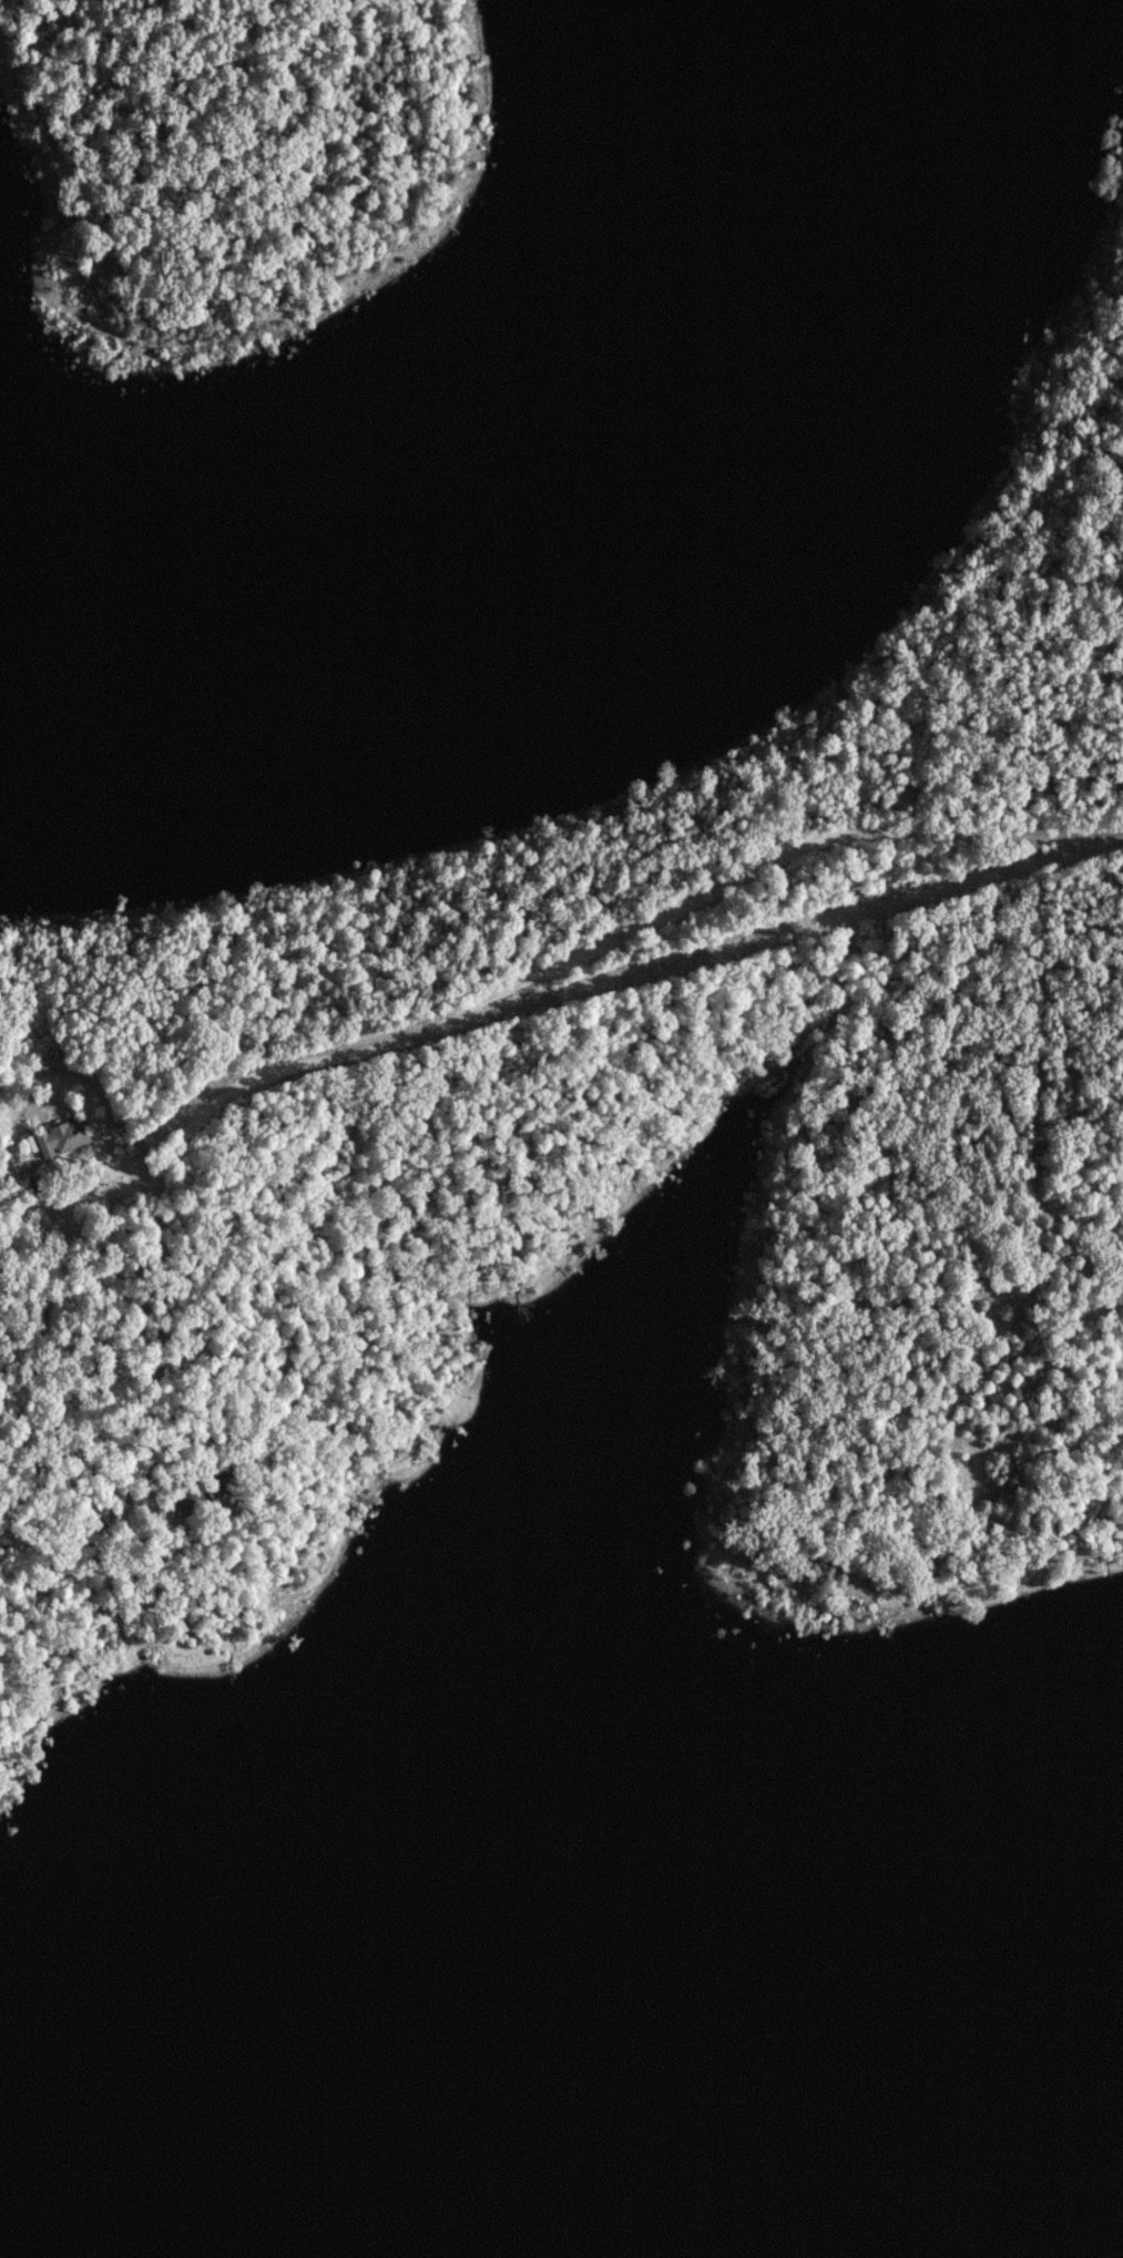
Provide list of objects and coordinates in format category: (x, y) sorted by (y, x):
road: (542, 969)
building: (62, 1136)

